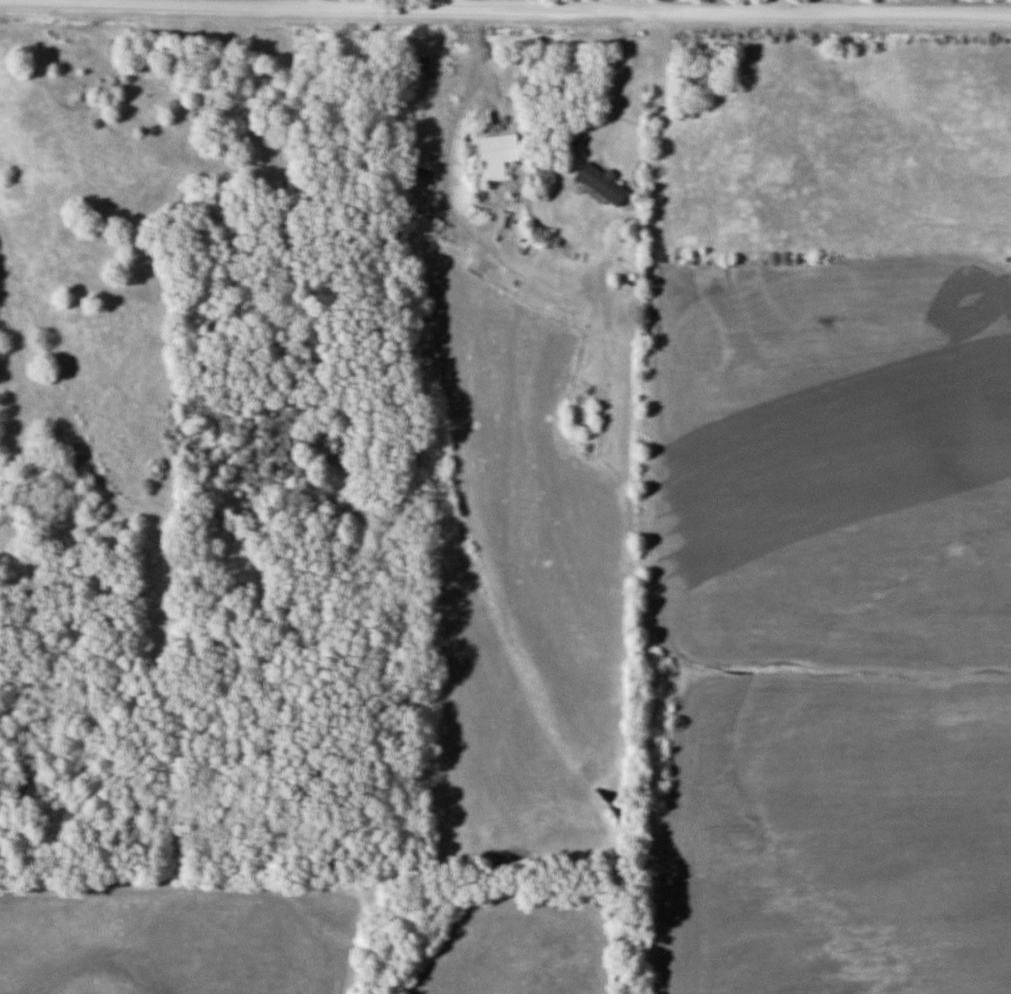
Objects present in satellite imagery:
road: (306, 4)
road: (505, 7)
road: (623, 77)
building: (499, 155)
building: (608, 183)

